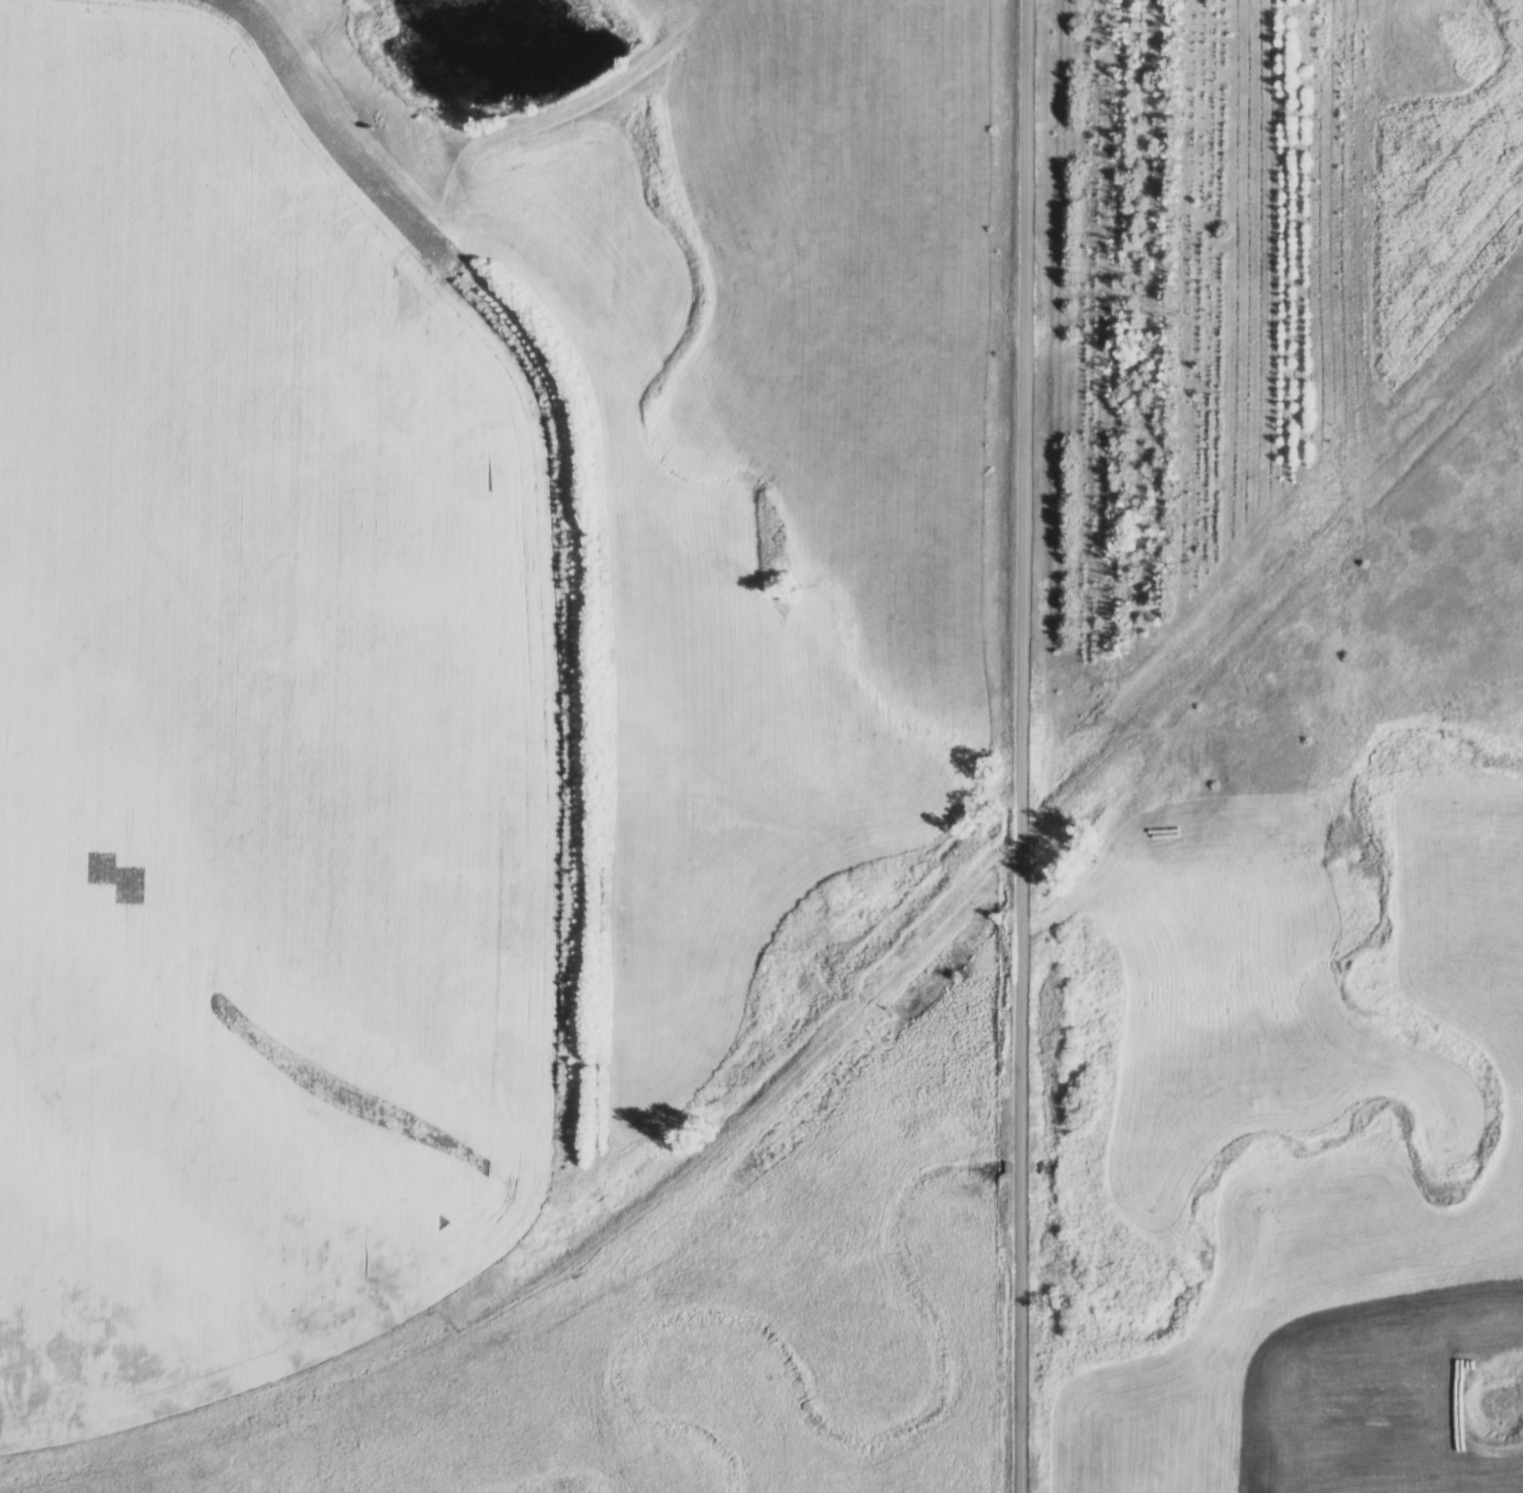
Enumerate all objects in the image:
road: (1039, 746)

